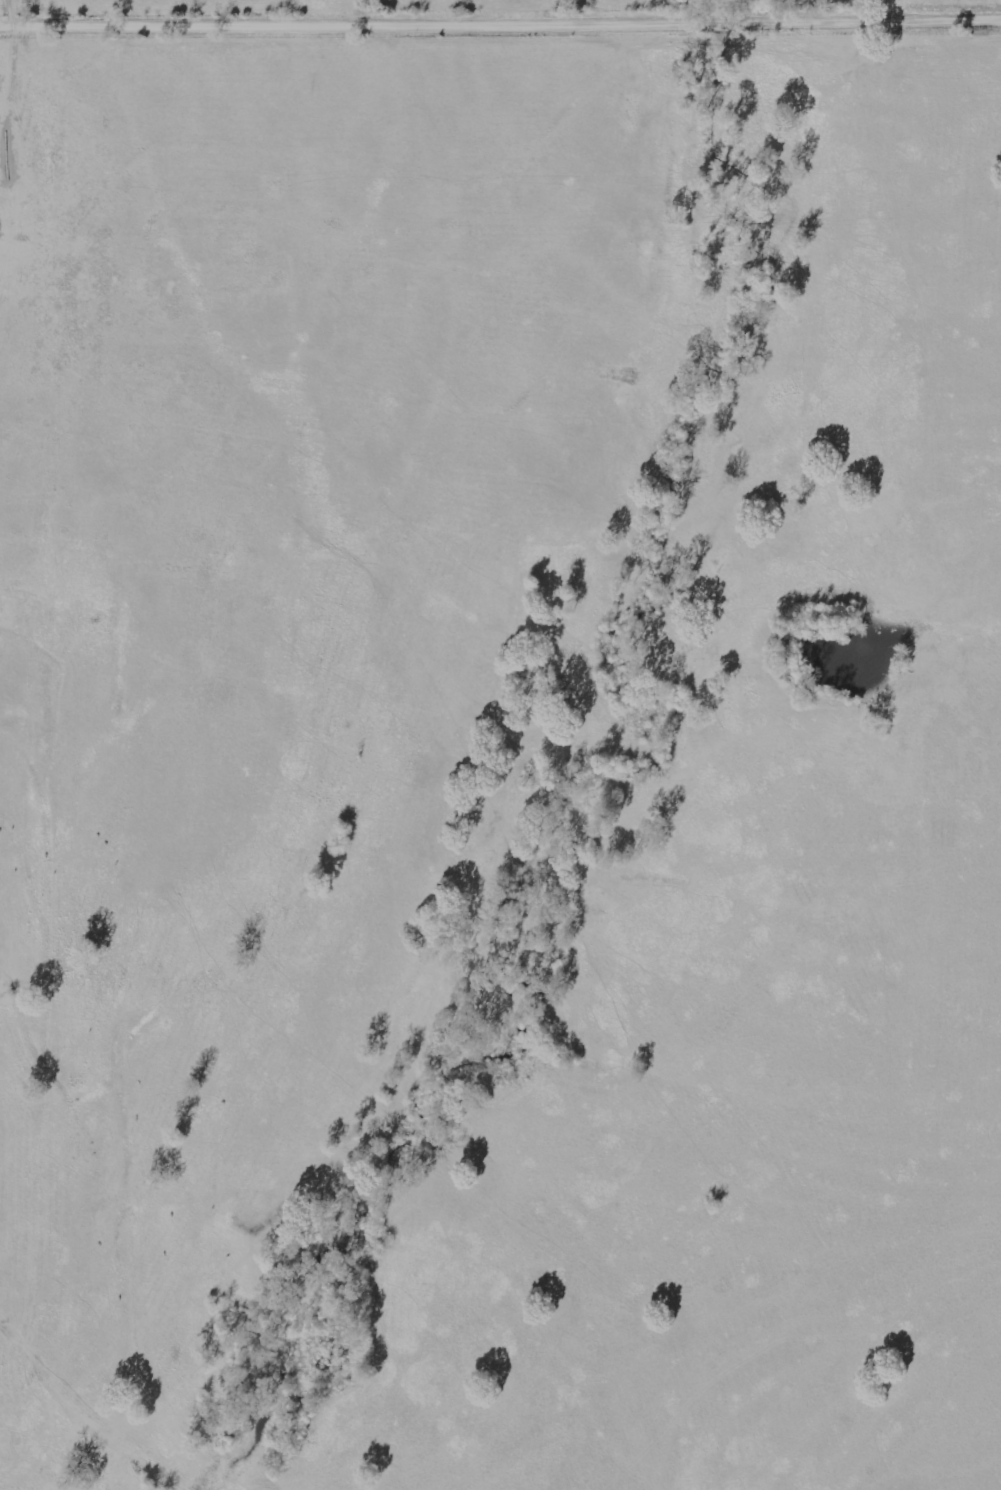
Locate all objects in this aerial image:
road: (501, 31)

